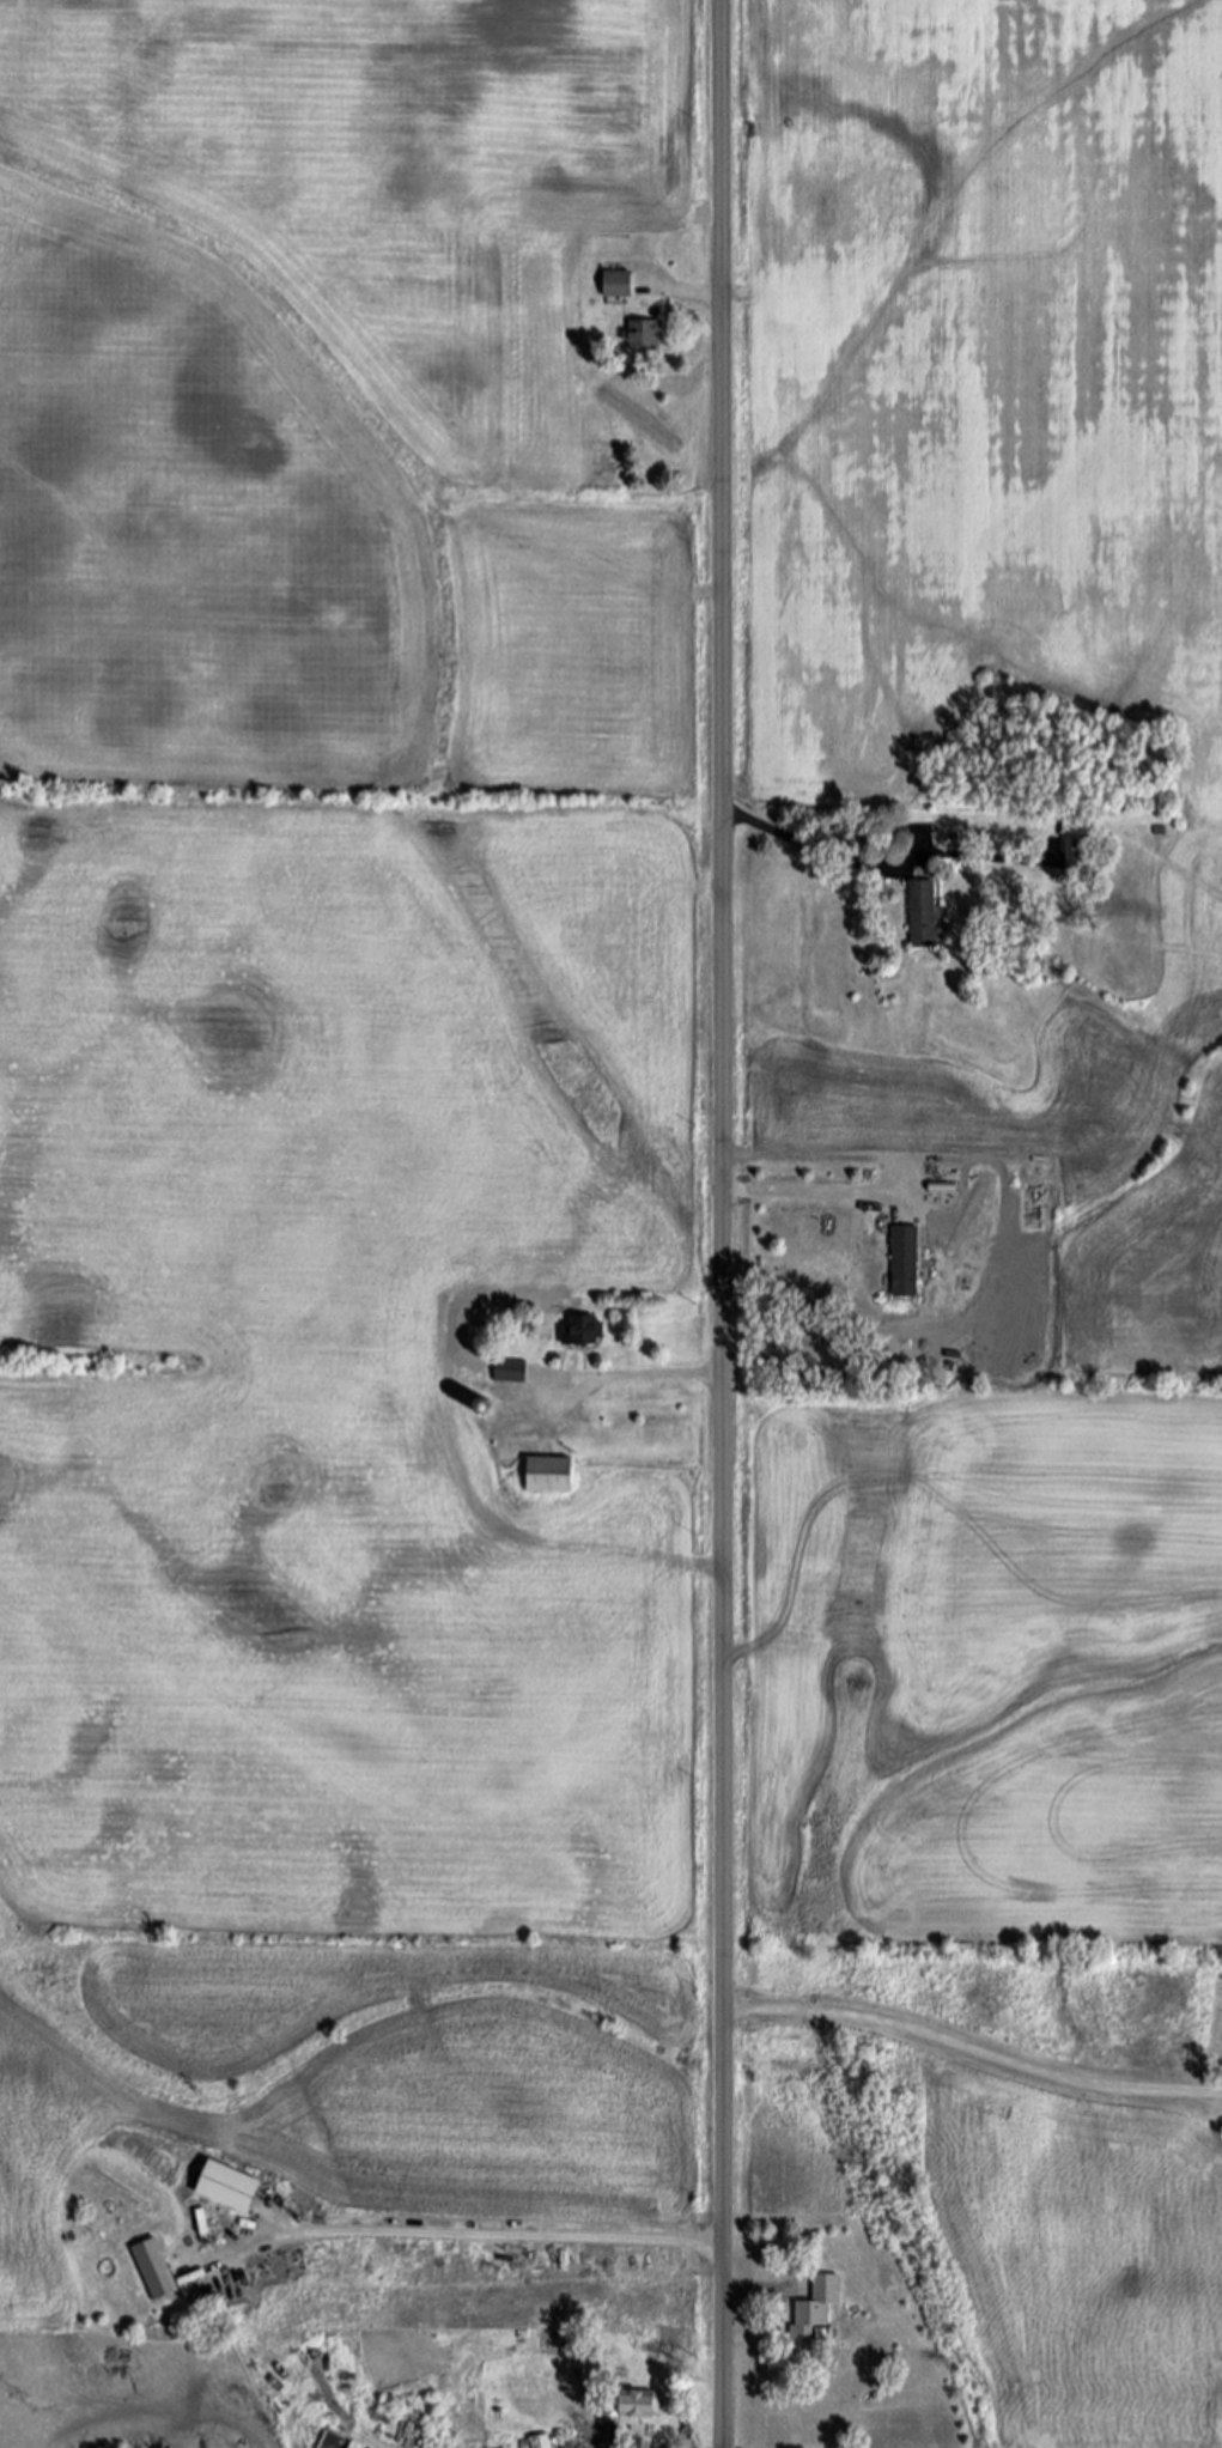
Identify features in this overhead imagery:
building: (618, 284)
road: (689, 292)
building: (645, 336)
road: (817, 848)
building: (1078, 857)
building: (923, 913)
road: (810, 1196)
road: (722, 1223)
building: (905, 1263)
building: (583, 1332)
building: (510, 1372)
road: (638, 1375)
building: (487, 1409)
building: (549, 1476)
road: (971, 2052)
building: (230, 2188)
building: (202, 2221)
road: (509, 2236)
building: (157, 2270)
road: (800, 2314)
building: (815, 2316)
building: (640, 2407)
building: (541, 2442)

